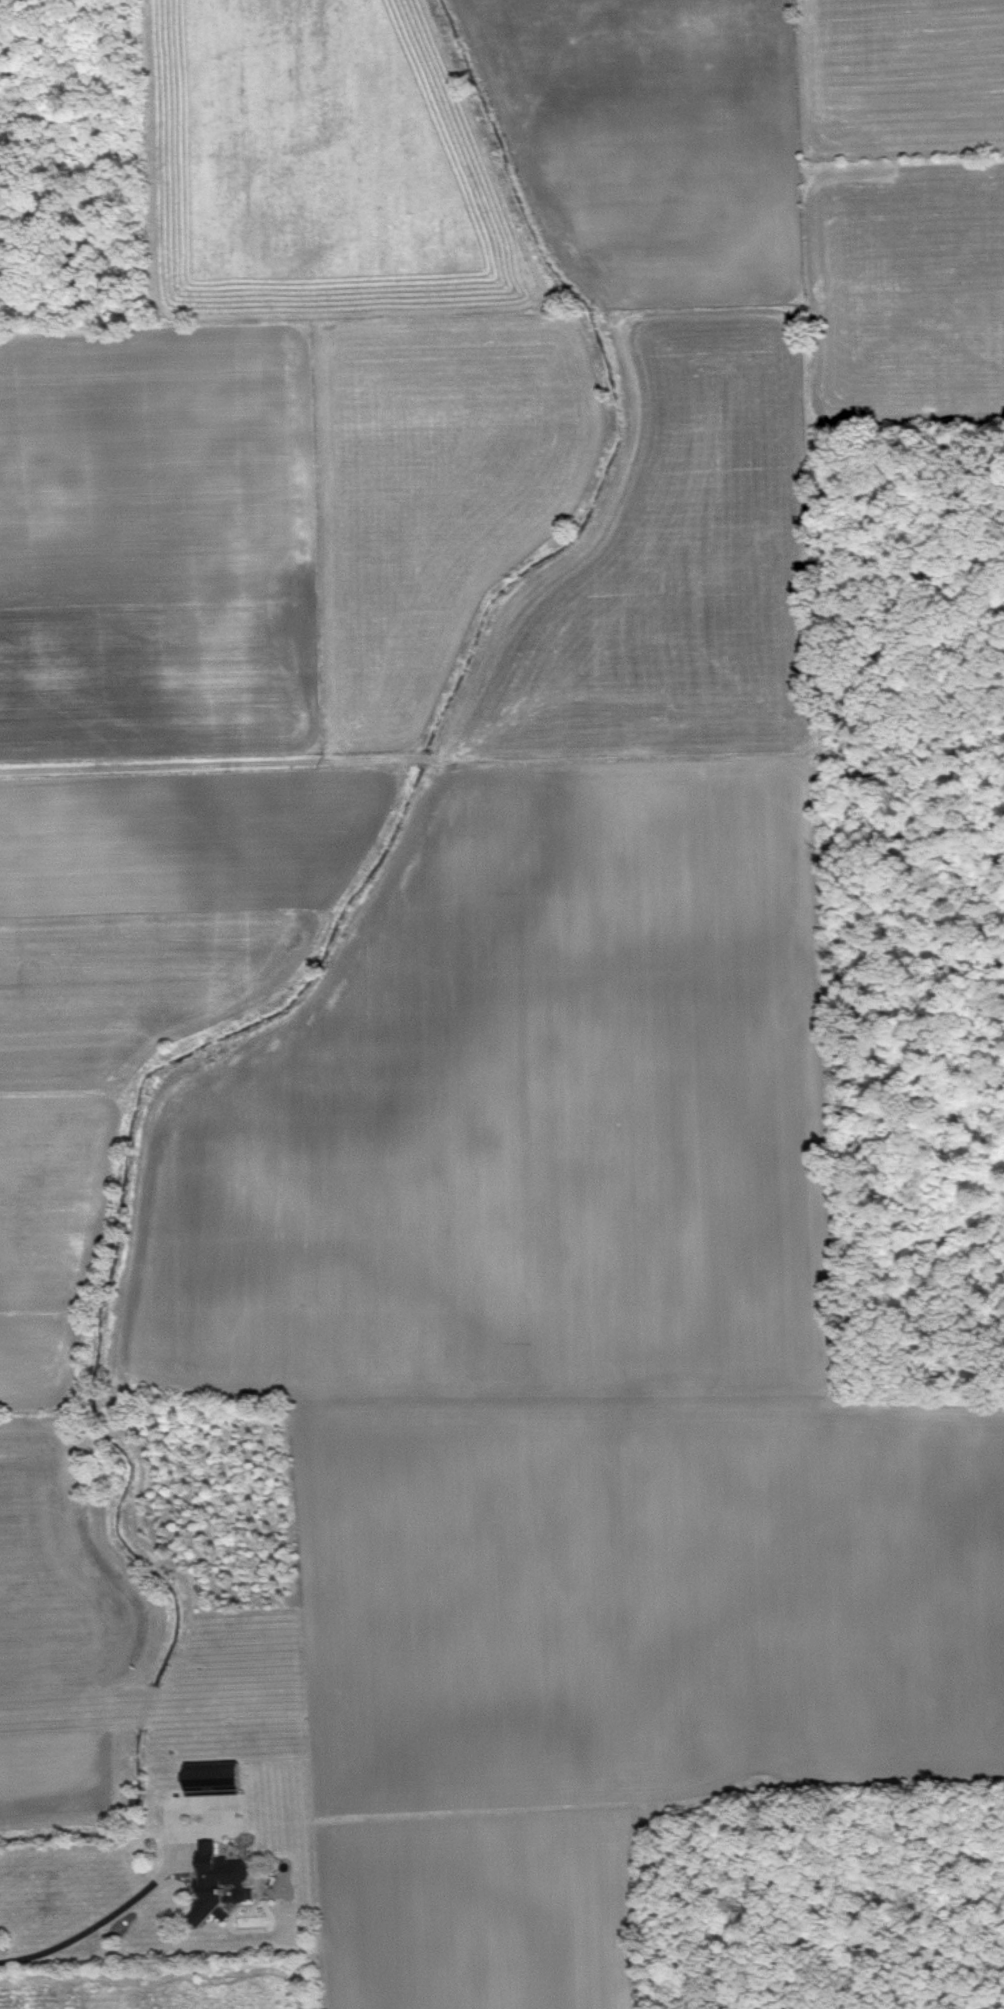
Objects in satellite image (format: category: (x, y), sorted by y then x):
building: (225, 1883)
road: (95, 1926)

